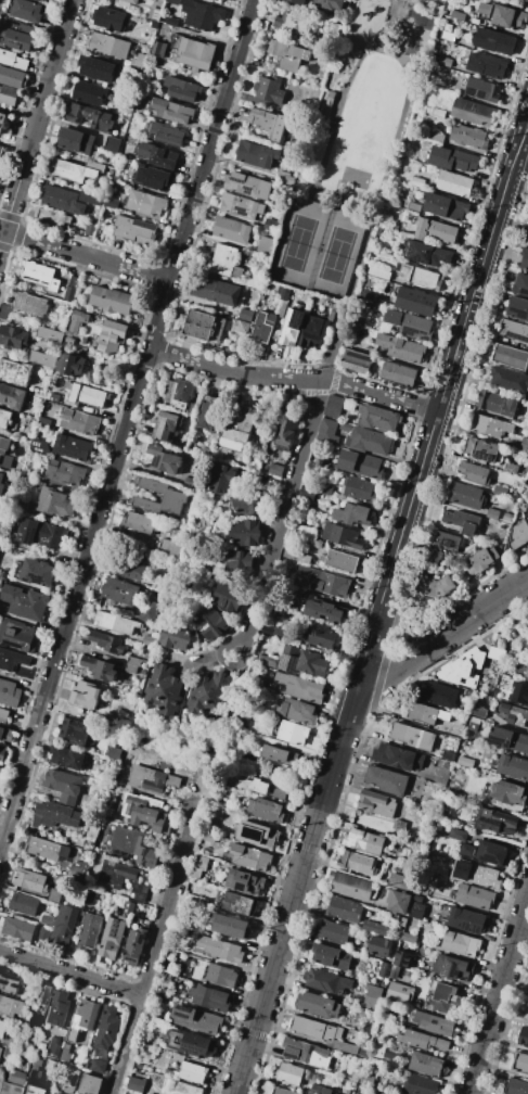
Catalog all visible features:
building: (39, 0)
building: (227, 0)
building: (524, 0)
building: (131, 1)
building: (173, 1)
building: (296, 2)
building: (330, 4)
building: (25, 11)
building: (153, 13)
building: (202, 15)
building: (458, 15)
building: (503, 15)
building: (107, 18)
building: (171, 22)
building: (293, 23)
road: (389, 25)
building: (333, 29)
building: (17, 35)
building: (493, 41)
building: (108, 44)
road: (359, 44)
building: (157, 49)
building: (131, 52)
building: (195, 54)
building: (287, 55)
building: (140, 59)
building: (12, 60)
building: (486, 65)
building: (136, 66)
building: (95, 68)
building: (12, 77)
building: (459, 78)
building: (181, 89)
building: (268, 90)
building: (482, 90)
building: (89, 93)
building: (8, 94)
building: (329, 103)
building: (172, 112)
building: (473, 112)
building: (438, 113)
building: (88, 117)
road: (526, 120)
building: (268, 123)
building: (3, 124)
road: (37, 125)
building: (167, 135)
building: (433, 137)
building: (469, 137)
building: (75, 141)
building: (112, 144)
road: (517, 145)
road: (326, 147)
park: (353, 148)
building: (2, 150)
building: (256, 155)
building: (158, 156)
building: (453, 160)
building: (94, 166)
building: (69, 170)
building: (150, 176)
building: (115, 178)
rooftop solar panel: (236, 178)
building: (284, 178)
park: (355, 178)
building: (417, 182)
building: (453, 183)
building: (247, 186)
road: (381, 187)
rooftop solar panel: (247, 188)
building: (62, 201)
building: (111, 203)
building: (145, 203)
building: (409, 205)
building: (240, 206)
building: (445, 206)
rooftop solar panel: (241, 208)
building: (52, 218)
building: (271, 226)
building: (90, 228)
building: (394, 228)
building: (134, 230)
building: (231, 230)
building: (381, 231)
building: (434, 231)
building: (527, 241)
building: (253, 242)
park: (299, 242)
building: (265, 245)
park: (337, 254)
building: (428, 254)
road: (83, 256)
building: (524, 260)
building: (223, 262)
building: (37, 272)
building: (379, 272)
building: (420, 276)
building: (520, 284)
building: (53, 285)
building: (72, 287)
building: (214, 290)
rooftop solar panel: (527, 292)
building: (283, 293)
building: (369, 294)
building: (112, 301)
building: (416, 302)
building: (29, 304)
rooftop solar panel: (517, 307)
building: (281, 308)
building: (517, 308)
building: (4, 313)
building: (245, 315)
building: (77, 320)
building: (409, 325)
building: (203, 326)
building: (262, 327)
building: (291, 327)
building: (242, 328)
building: (313, 330)
building: (514, 330)
building: (50, 334)
building: (13, 336)
building: (112, 338)
building: (69, 340)
building: (85, 341)
road: (334, 345)
building: (401, 348)
road: (147, 351)
building: (510, 357)
building: (42, 359)
building: (356, 360)
building: (70, 365)
building: (15, 372)
building: (399, 373)
road: (293, 379)
building: (510, 380)
building: (67, 385)
building: (178, 393)
building: (87, 396)
building: (12, 397)
building: (51, 397)
building: (497, 403)
building: (333, 406)
building: (207, 411)
building: (377, 418)
building: (5, 419)
building: (44, 422)
building: (79, 422)
road: (432, 424)
building: (240, 425)
building: (167, 427)
building: (345, 427)
building: (491, 427)
building: (287, 431)
building: (327, 431)
building: (369, 441)
building: (230, 444)
building: (524, 444)
building: (39, 446)
building: (72, 447)
building: (283, 448)
building: (480, 449)
building: (4, 454)
rooftop solar panel: (484, 455)
building: (164, 459)
building: (365, 466)
building: (511, 468)
building: (275, 470)
building: (474, 472)
building: (64, 473)
building: (221, 480)
building: (1, 484)
building: (324, 488)
building: (359, 489)
building: (500, 491)
building: (307, 494)
building: (172, 496)
building: (465, 496)
building: (54, 504)
building: (247, 504)
building: (523, 507)
building: (351, 514)
building: (492, 514)
building: (506, 518)
building: (527, 518)
road: (282, 519)
building: (462, 521)
building: (138, 523)
building: (0, 526)
building: (26, 531)
rooftop solar panel: (28, 534)
building: (244, 534)
building: (337, 534)
building: (51, 535)
building: (518, 536)
building: (447, 546)
building: (169, 547)
building: (500, 547)
building: (288, 554)
building: (304, 559)
building: (339, 561)
building: (481, 561)
building: (239, 565)
building: (128, 570)
building: (36, 573)
rooftop solar panel: (25, 580)
rooftop solar panel: (39, 581)
building: (323, 581)
building: (436, 586)
building: (119, 591)
building: (300, 594)
building: (229, 597)
building: (24, 603)
road: (485, 607)
building: (149, 611)
building: (322, 612)
building: (286, 616)
building: (526, 618)
building: (209, 623)
building: (117, 624)
road: (407, 629)
building: (267, 631)
building: (281, 634)
building: (16, 635)
building: (320, 636)
building: (173, 637)
building: (493, 638)
building: (146, 640)
building: (104, 643)
building: (494, 653)
building: (11, 659)
road: (209, 659)
building: (266, 661)
building: (288, 663)
building: (311, 663)
building: (131, 665)
building: (461, 667)
building: (99, 669)
road: (404, 669)
building: (520, 669)
building: (256, 683)
building: (298, 687)
building: (164, 690)
building: (519, 692)
building: (9, 694)
building: (208, 694)
building: (85, 695)
building: (436, 695)
building: (296, 711)
building: (479, 711)
building: (425, 713)
building: (3, 715)
building: (82, 715)
building: (508, 715)
building: (177, 725)
building: (473, 725)
building: (73, 732)
building: (292, 733)
building: (5, 735)
building: (412, 736)
building: (469, 738)
building: (508, 739)
building: (2, 753)
building: (112, 753)
building: (280, 755)
building: (448, 755)
building: (66, 758)
building: (397, 758)
building: (465, 761)
building: (445, 765)
building: (112, 766)
building: (513, 767)
road: (21, 769)
building: (87, 775)
building: (151, 780)
building: (386, 780)
building: (63, 785)
building: (253, 785)
building: (450, 786)
building: (434, 788)
building: (280, 793)
building: (507, 793)
building: (376, 804)
building: (266, 810)
building: (217, 812)
building: (144, 813)
building: (49, 814)
building: (69, 817)
building: (494, 822)
building: (210, 825)
building: (398, 825)
building: (438, 826)
building: (259, 835)
building: (458, 835)
building: (89, 836)
building: (209, 837)
building: (108, 839)
building: (363, 841)
building: (134, 845)
building: (47, 850)
building: (467, 851)
building: (111, 852)
building: (491, 853)
building: (118, 854)
building: (248, 857)
building: (357, 863)
building: (199, 866)
building: (76, 870)
building: (126, 873)
building: (477, 875)
building: (30, 880)
building: (245, 882)
building: (396, 882)
building: (351, 887)
road: (295, 890)
building: (422, 890)
building: (25, 891)
building: (138, 892)
building: (54, 895)
building: (475, 896)
building: (89, 898)
building: (417, 898)
building: (195, 900)
building: (398, 902)
building: (23, 904)
building: (239, 904)
building: (128, 907)
building: (345, 909)
building: (416, 911)
building: (462, 918)
building: (47, 920)
building: (400, 921)
building: (64, 926)
building: (228, 926)
rooftop solar panel: (114, 927)
rooftop solar panel: (469, 927)
building: (374, 928)
building: (17, 929)
building: (89, 931)
building: (455, 931)
building: (332, 932)
building: (42, 934)
building: (111, 938)
rooftop solar panel: (140, 938)
building: (408, 939)
building: (134, 942)
building: (460, 944)
building: (379, 947)
road: (153, 950)
building: (219, 950)
building: (331, 957)
rooftop solar panel: (128, 958)
building: (401, 959)
building: (449, 967)
rooftop solar panel: (447, 968)
building: (384, 970)
rooftop solar panel: (454, 970)
building: (394, 972)
road: (69, 974)
building: (221, 975)
building: (327, 982)
building: (11, 983)
building: (159, 991)
building: (398, 992)
road: (498, 994)
building: (44, 995)
building: (427, 996)
building: (443, 997)
building: (209, 998)
building: (372, 998)
building: (318, 1005)
building: (527, 1005)
building: (9, 1006)
rooftop solar panel: (184, 1007)
building: (57, 1009)
rooftop solar panel: (183, 1015)
building: (527, 1016)
building: (82, 1018)
building: (34, 1020)
building: (196, 1020)
building: (435, 1023)
building: (108, 1028)
building: (311, 1029)
building: (368, 1029)
building: (2, 1031)
building: (337, 1032)
building: (351, 1033)
building: (524, 1036)
building: (422, 1041)
building: (188, 1043)
building: (26, 1046)
building: (53, 1046)
building: (68, 1046)
building: (345, 1047)
rooftop solar panel: (192, 1048)
building: (305, 1053)
building: (362, 1053)
building: (65, 1055)
building: (390, 1055)
building: (52, 1056)
building: (520, 1063)
building: (426, 1065)
building: (98, 1066)
building: (138, 1066)
building: (47, 1069)
building: (168, 1071)
building: (192, 1072)
building: (289, 1074)
building: (310, 1074)
building: (13, 1077)
building: (353, 1077)
building: (31, 1079)
building: (366, 1081)
building: (89, 1084)
building: (136, 1084)
building: (352, 1085)
building: (420, 1085)
building: (516, 1086)
building: (8, 1089)
building: (179, 1089)
building: (315, 1090)
building: (151, 1091)
building: (282, 1091)
building: (326, 1091)
building: (50, 1093)
building: (332, 1093)

